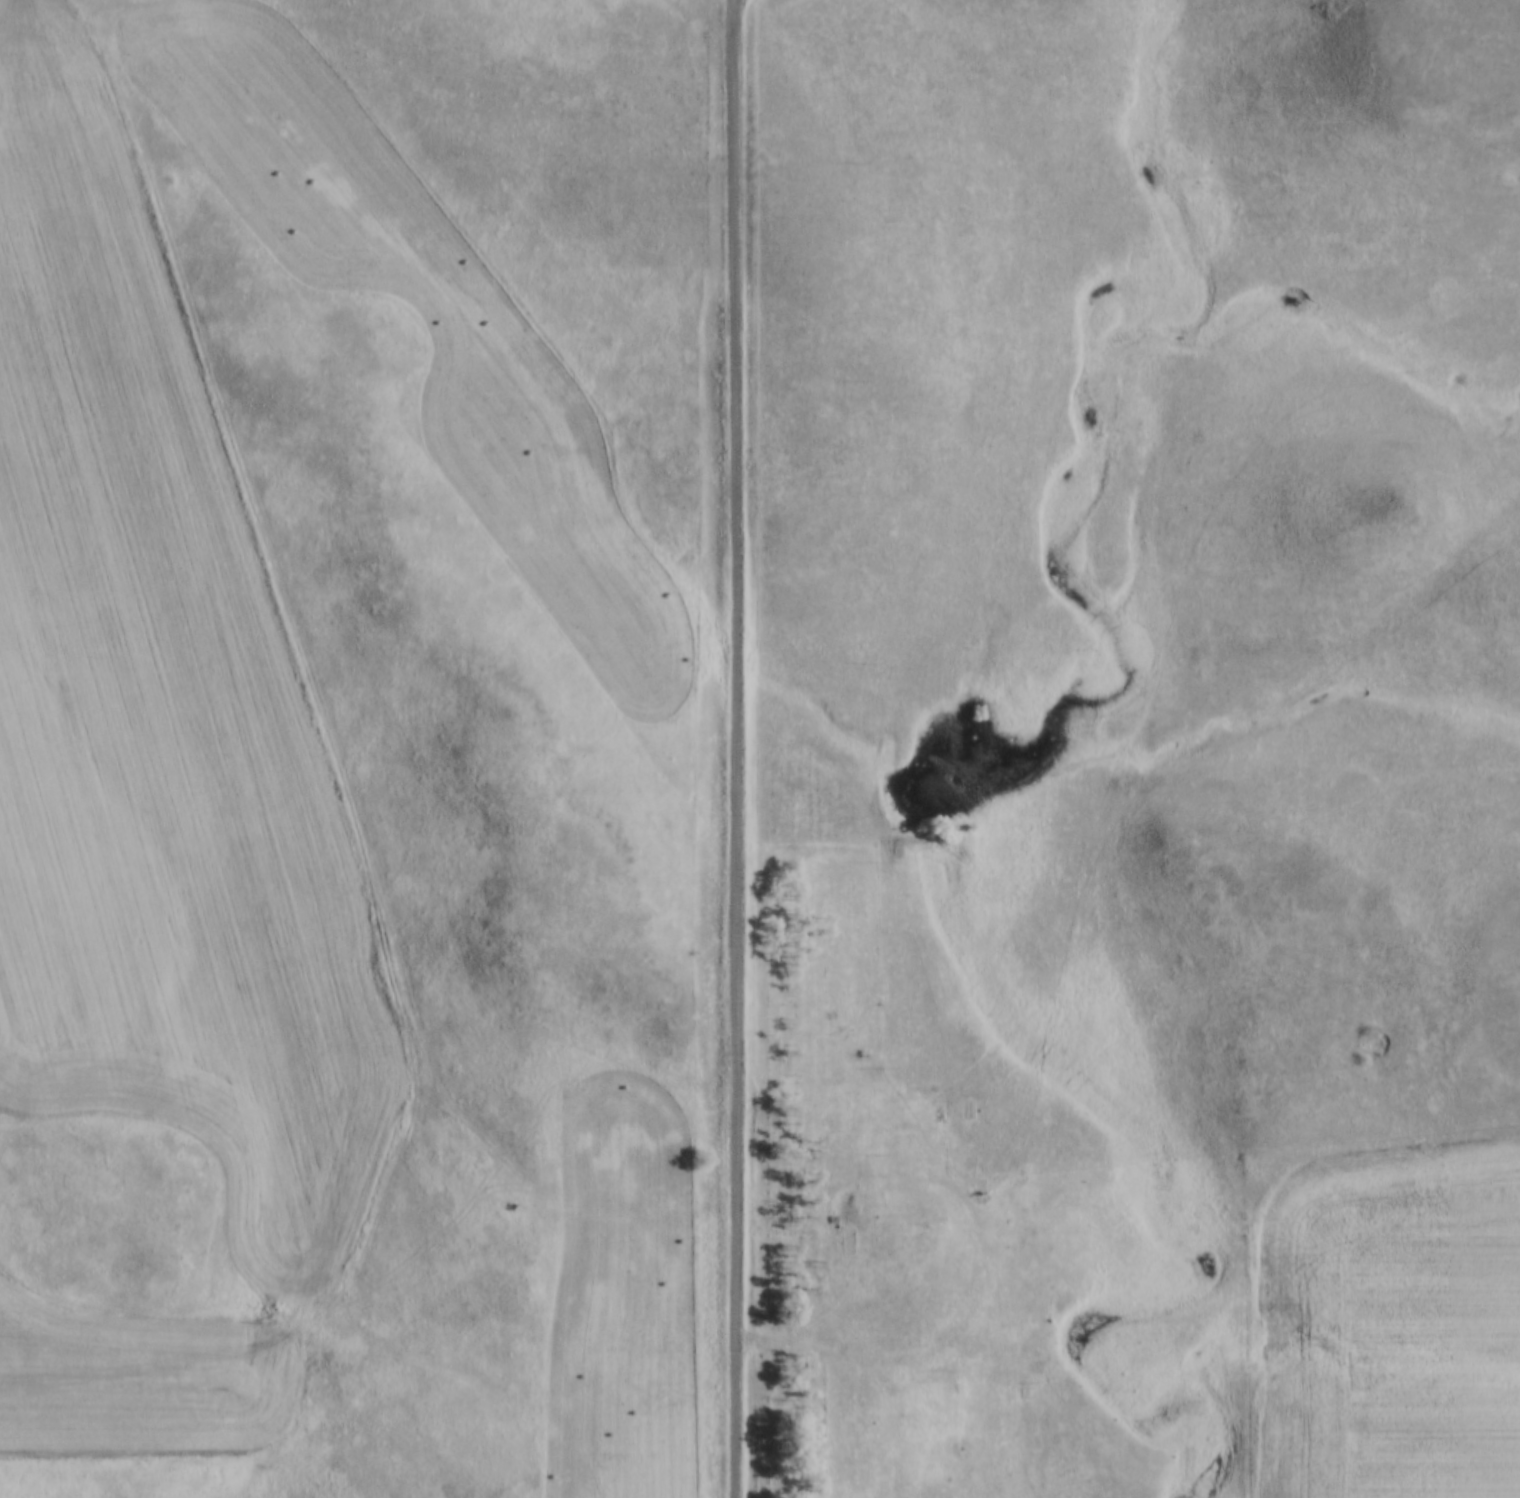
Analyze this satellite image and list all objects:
road: (731, 748)
building: (847, 1239)
road: (842, 1293)

